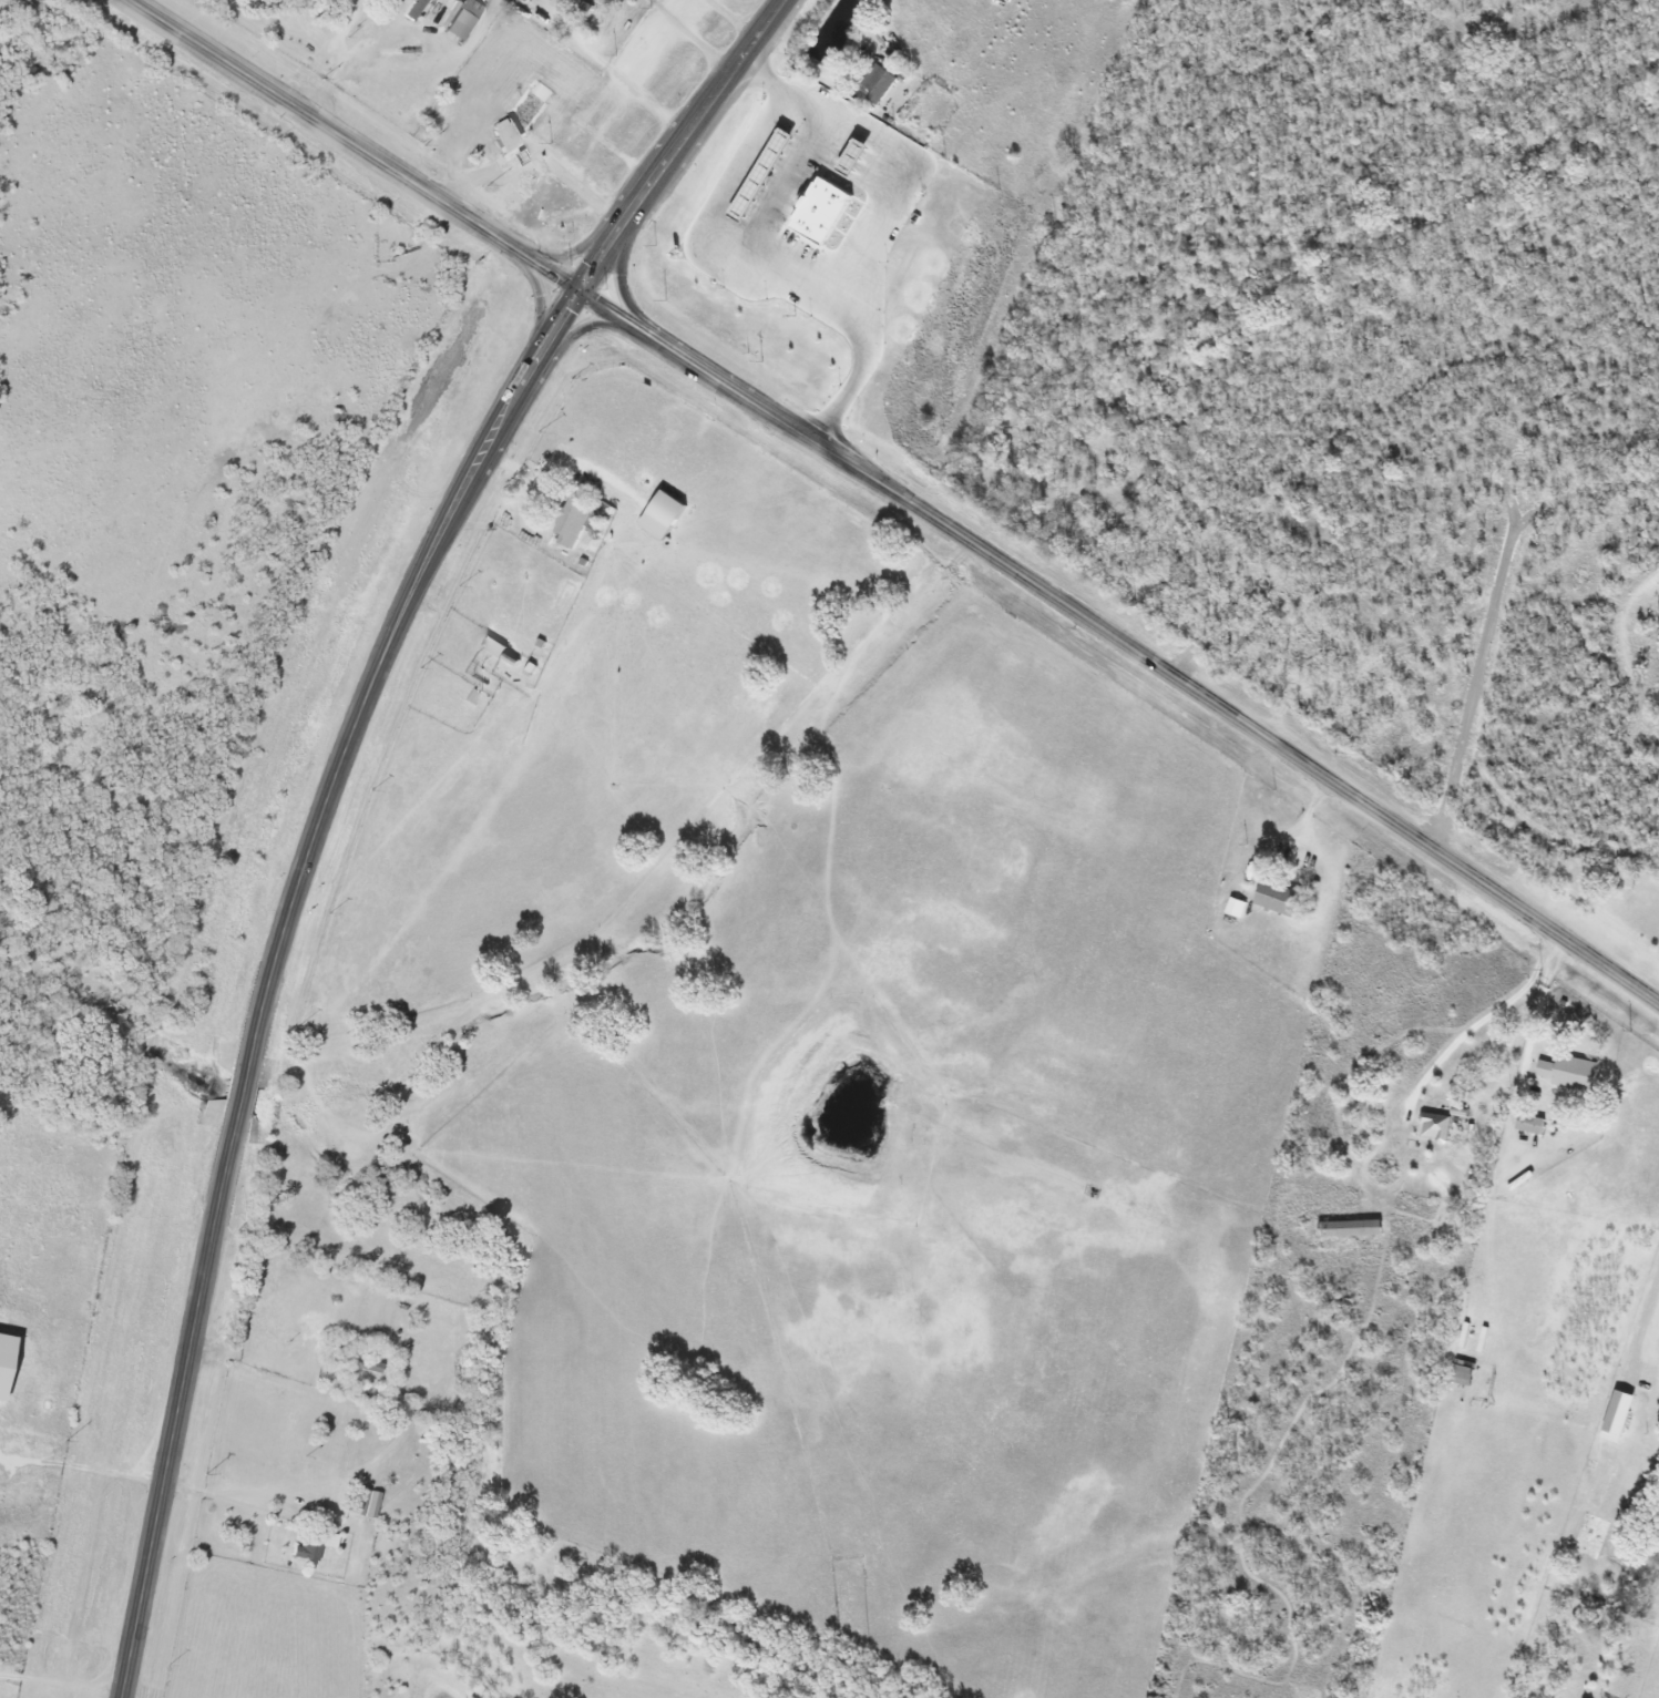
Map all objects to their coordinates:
building: (564, 4)
building: (417, 10)
building: (451, 13)
road: (738, 16)
building: (463, 21)
road: (696, 32)
building: (882, 84)
building: (509, 134)
road: (352, 145)
gas station: (859, 156)
road: (537, 163)
building: (767, 174)
gas station: (767, 174)
parking lot: (924, 182)
road: (889, 209)
building: (826, 211)
road: (716, 236)
traffic signals: (578, 290)
building: (559, 495)
road: (457, 497)
building: (667, 515)
building: (577, 522)
road: (1122, 643)
building: (495, 646)
building: (1281, 899)
building: (1238, 908)
road: (1488, 1015)
building: (1573, 1073)
road: (243, 1084)
building: (1533, 1124)
building: (1437, 1126)
building: (1354, 1229)
road: (1645, 1331)
building: (7, 1362)
building: (358, 1362)
building: (1464, 1375)
road: (178, 1407)
building: (1621, 1418)
road: (82, 1465)
road: (311, 1481)
building: (369, 1503)
road: (275, 1510)
building: (309, 1551)
road: (58, 1685)

